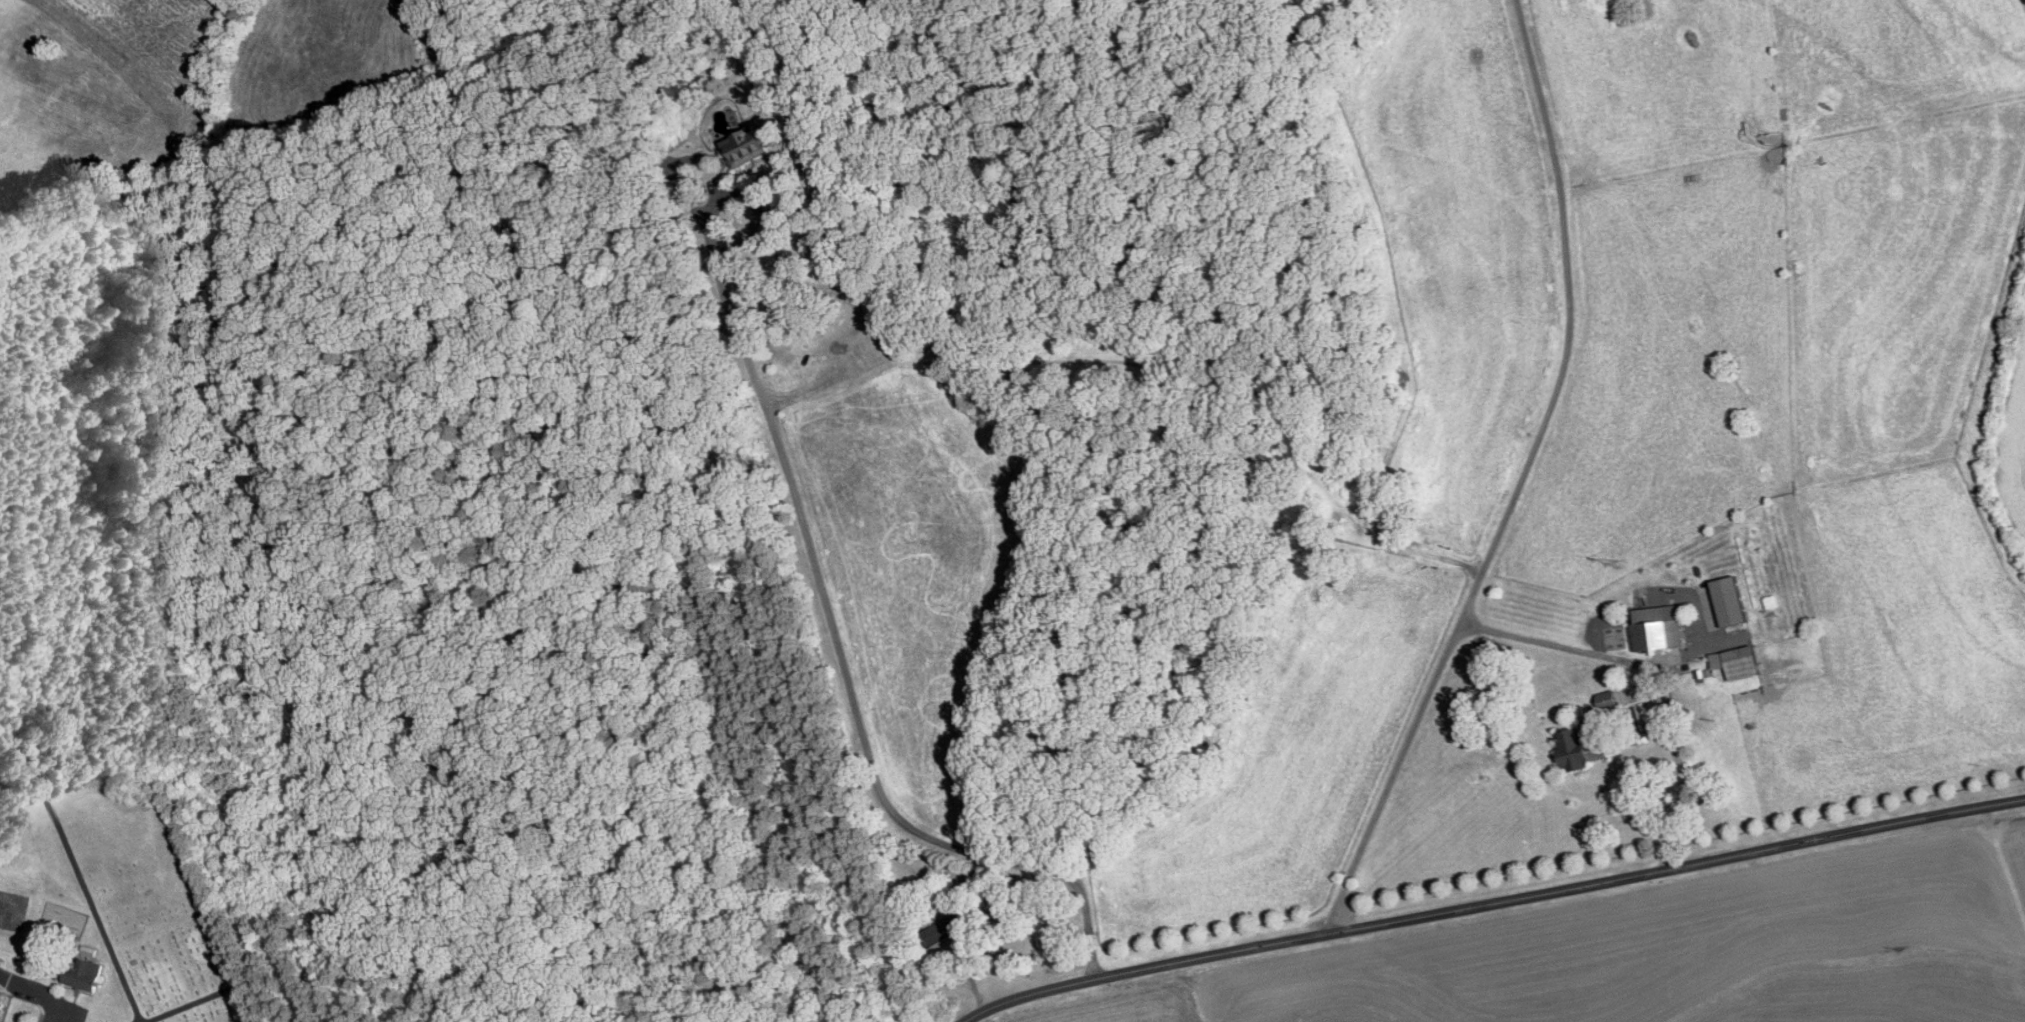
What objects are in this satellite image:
building: (748, 149)
road: (1516, 477)
road: (823, 591)
building: (1729, 621)
building: (1654, 630)
road: (1561, 645)
building: (1736, 664)
building: (1579, 749)
road: (1680, 778)
road: (1491, 901)
park: (145, 906)
building: (947, 930)
building: (84, 976)
road: (42, 992)
building: (1, 997)

